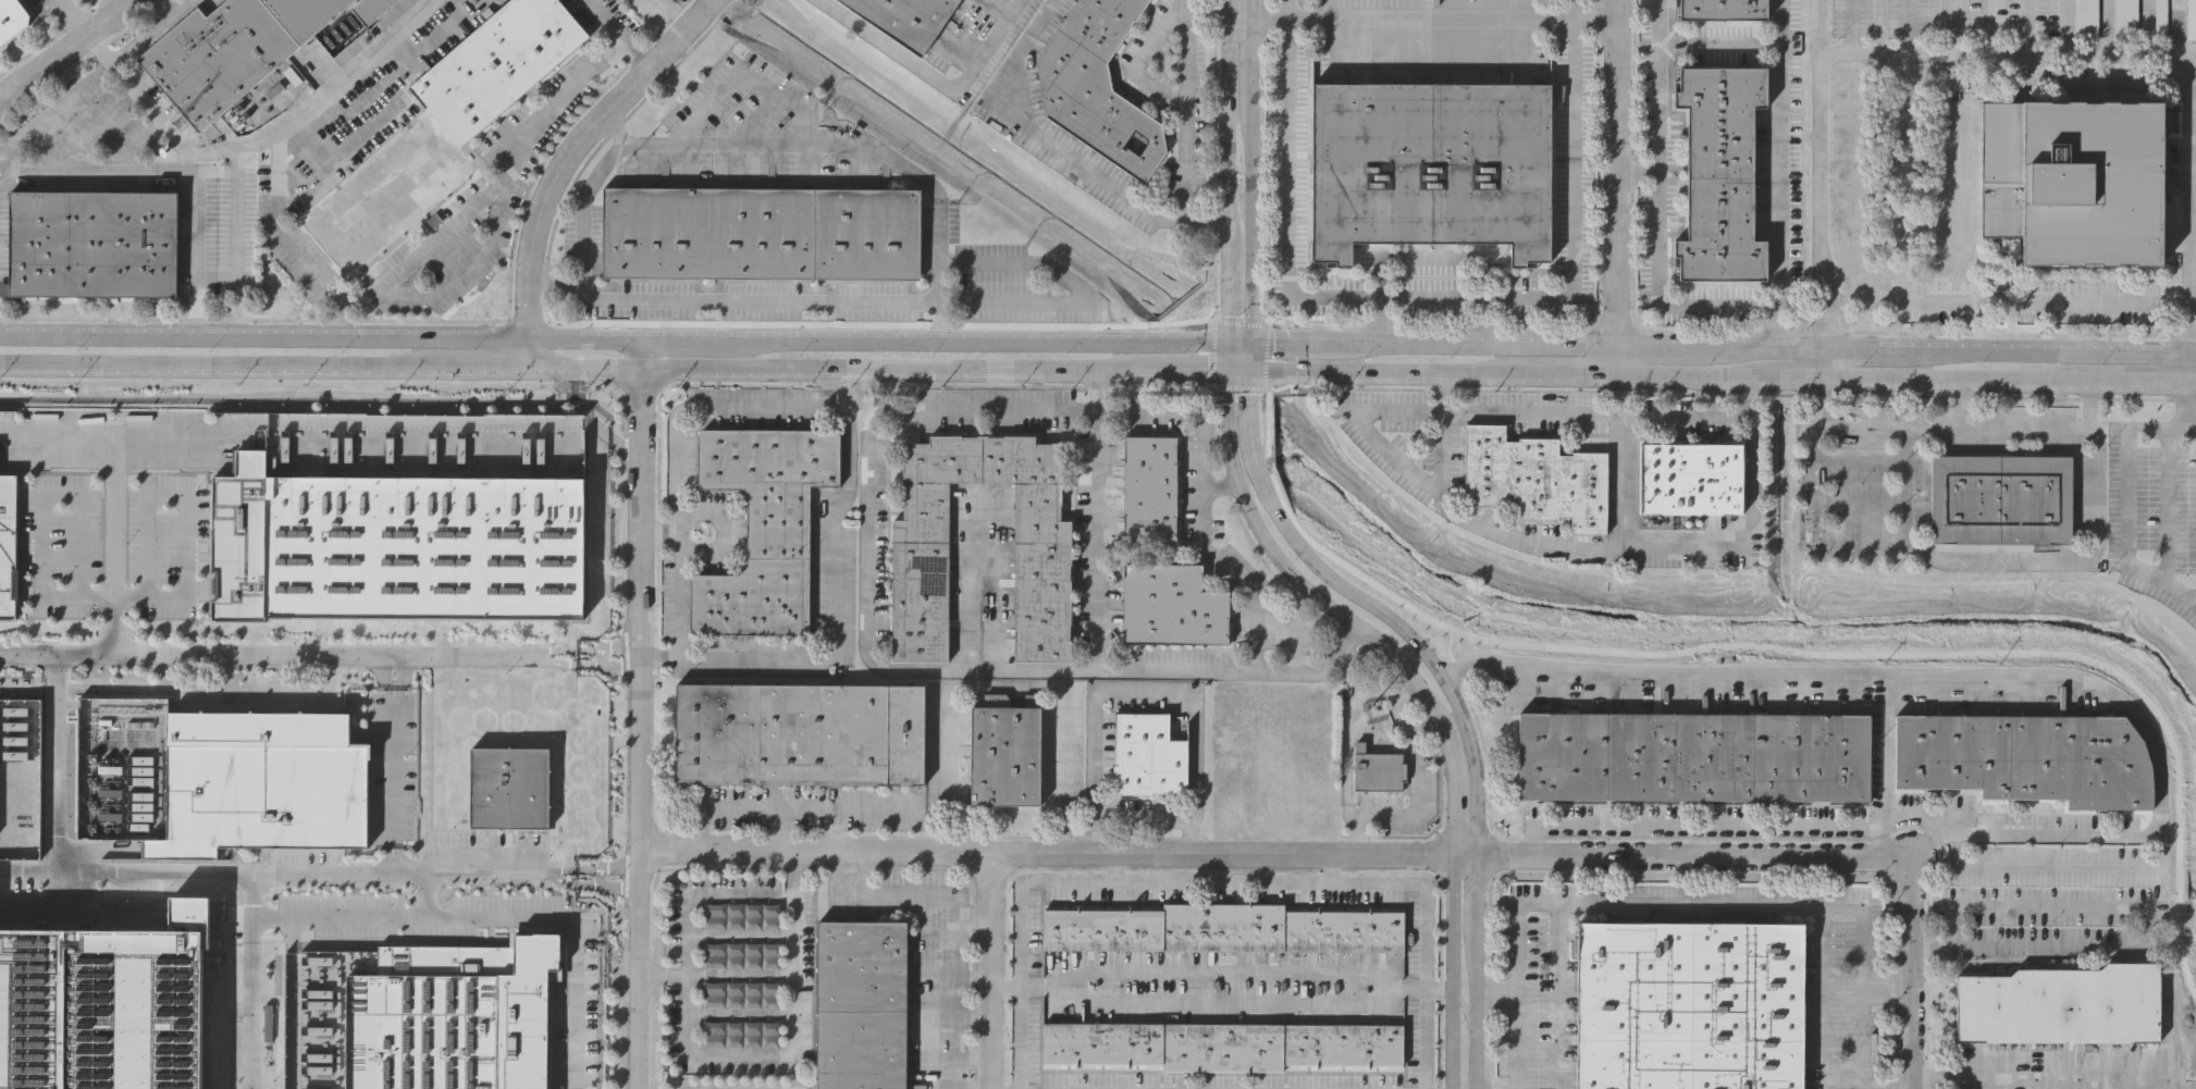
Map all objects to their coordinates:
road: (124, 2)
road: (707, 5)
building: (369, 8)
building: (1723, 11)
building: (2159, 15)
parking lot: (2159, 15)
road: (1423, 18)
building: (2124, 18)
parking lot: (2124, 18)
building: (2191, 18)
parking lot: (2191, 18)
building: (10, 20)
road: (73, 20)
building: (904, 20)
building: (2086, 20)
parking lot: (2086, 20)
road: (1858, 26)
road: (1907, 27)
road: (1948, 27)
road: (1986, 28)
road: (2027, 28)
road: (2067, 28)
road: (2107, 29)
road: (2145, 29)
road: (621, 33)
road: (1208, 34)
road: (1719, 41)
building: (230, 49)
road: (67, 51)
road: (1866, 52)
road: (1140, 55)
road: (934, 73)
road: (91, 76)
building: (1096, 84)
road: (140, 98)
road: (1184, 109)
road: (1229, 125)
building: (443, 127)
road: (90, 129)
road: (360, 135)
road: (1040, 135)
road: (1256, 135)
road: (135, 144)
road: (793, 146)
road: (280, 150)
road: (1780, 150)
road: (559, 163)
building: (1433, 165)
building: (2002, 166)
road: (148, 171)
road: (1637, 172)
road: (1616, 174)
building: (1718, 174)
building: (2093, 183)
road: (1288, 189)
road: (584, 190)
road: (499, 201)
road: (2194, 208)
road: (1657, 210)
road: (1205, 221)
road: (236, 230)
building: (761, 234)
road: (437, 237)
road: (1575, 240)
building: (92, 242)
road: (937, 252)
road: (196, 255)
road: (1077, 293)
road: (1225, 299)
road: (2007, 300)
road: (749, 301)
road: (1251, 307)
road: (1380, 322)
road: (1776, 324)
road: (588, 338)
traffic signals: (1250, 344)
road: (1275, 344)
road: (1199, 345)
road: (1236, 345)
road: (1315, 345)
traffic signals: (1223, 346)
road: (1471, 346)
road: (1654, 349)
road: (1757, 349)
road: (1856, 349)
road: (2043, 354)
road: (2194, 357)
road: (1223, 359)
road: (1250, 359)
road: (219, 362)
road: (1615, 363)
road: (1819, 364)
road: (479, 366)
road: (831, 369)
road: (2192, 371)
road: (1161, 372)
road: (1201, 373)
traffic signals: (1224, 373)
road: (1237, 373)
traffic signals: (1251, 374)
road: (1275, 374)
road: (1412, 375)
road: (1570, 378)
road: (1689, 379)
road: (1791, 380)
road: (1959, 380)
road: (2145, 384)
road: (2194, 385)
road: (889, 387)
road: (25, 394)
road: (1615, 396)
road: (1225, 399)
road: (1251, 401)
road: (930, 406)
road: (1593, 413)
road: (1863, 421)
road: (333, 423)
road: (8, 426)
road: (2047, 426)
road: (2192, 428)
road: (2192, 430)
road: (625, 451)
road: (677, 460)
building: (1537, 478)
building: (1689, 478)
road: (2129, 485)
building: (1150, 488)
building: (1999, 500)
road: (2168, 507)
road: (1095, 525)
building: (763, 528)
road: (1483, 530)
road: (658, 531)
road: (1740, 535)
road: (113, 542)
building: (395, 543)
building: (9, 544)
road: (1887, 544)
road: (2063, 561)
road: (1224, 566)
building: (918, 590)
road: (984, 593)
road: (114, 599)
road: (838, 602)
building: (1171, 606)
road: (608, 648)
road: (555, 651)
road: (268, 657)
road: (602, 658)
road: (554, 663)
road: (606, 667)
road: (1663, 668)
road: (1012, 679)
road: (640, 714)
road: (2134, 714)
road: (1472, 715)
road: (1441, 716)
road: (1196, 726)
building: (798, 734)
building: (1001, 753)
building: (1146, 755)
building: (1692, 757)
building: (2025, 759)
road: (392, 764)
road: (1097, 765)
road: (1064, 766)
parking lot: (394, 768)
building: (1378, 769)
road: (945, 774)
building: (262, 779)
building: (510, 787)
road: (787, 810)
road: (1148, 818)
road: (1693, 826)
road: (1937, 829)
road: (778, 830)
road: (831, 830)
road: (2020, 833)
road: (1275, 854)
road: (607, 867)
road: (559, 869)
road: (27, 871)
road: (66, 871)
road: (399, 871)
road: (863, 875)
road: (601, 877)
road: (1221, 881)
road: (591, 883)
road: (427, 894)
road: (703, 899)
road: (962, 903)
road: (1718, 905)
road: (52, 908)
building: (497, 917)
road: (495, 918)
road: (976, 918)
road: (1424, 924)
road: (2147, 925)
road: (1023, 927)
building: (1222, 932)
road: (990, 970)
road: (976, 977)
road: (1912, 981)
road: (1007, 987)
road: (1535, 990)
road: (1557, 995)
road: (252, 1002)
road: (293, 1002)
building: (34, 1004)
building: (860, 1004)
building: (1691, 1004)
building: (2061, 1004)
road: (1469, 1014)
building: (454, 1015)
road: (976, 1016)
road: (1514, 1022)
road: (1862, 1043)
building: (1225, 1044)
road: (776, 1054)
road: (976, 1057)
road: (2036, 1077)

